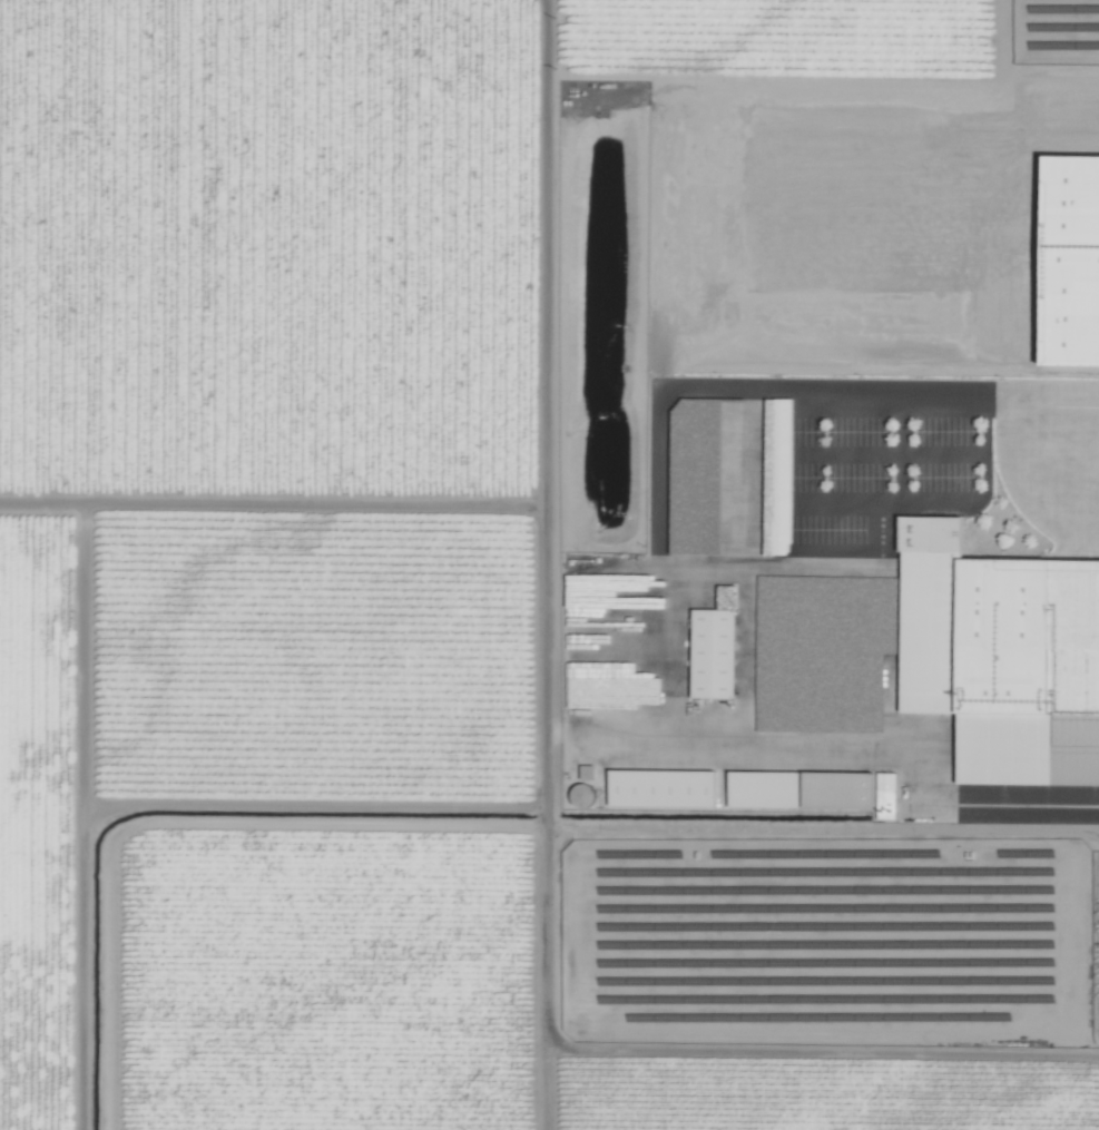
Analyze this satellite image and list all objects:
building: (1070, 190)
road: (960, 401)
building: (705, 409)
crop: (549, 564)
building: (712, 651)
road: (873, 754)
building: (660, 787)
building: (799, 788)
building: (885, 795)

